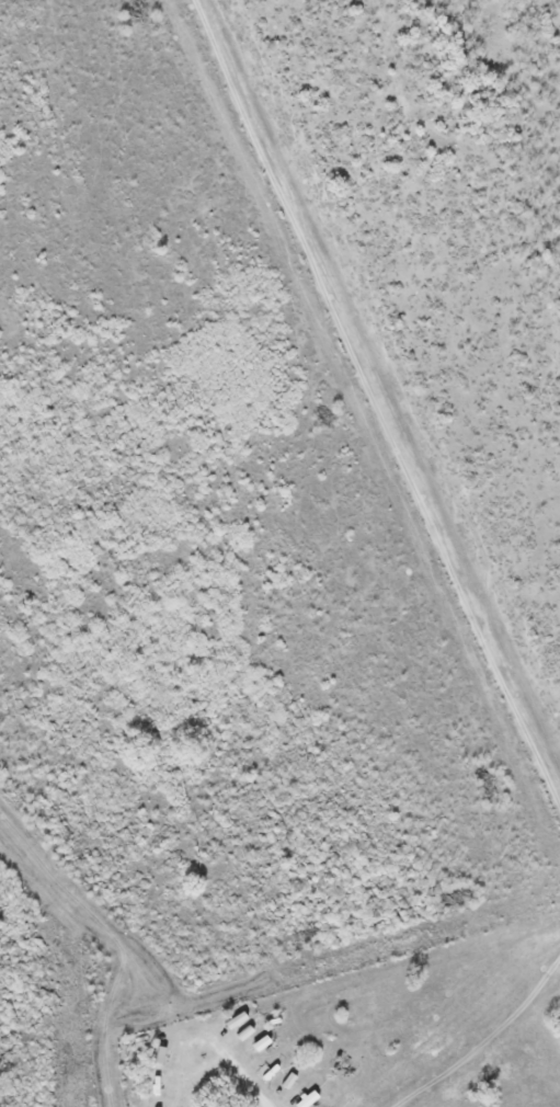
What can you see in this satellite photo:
road: (353, 331)
road: (526, 729)
building: (159, 1055)
building: (268, 1071)
building: (289, 1081)
building: (307, 1099)
building: (153, 1106)

